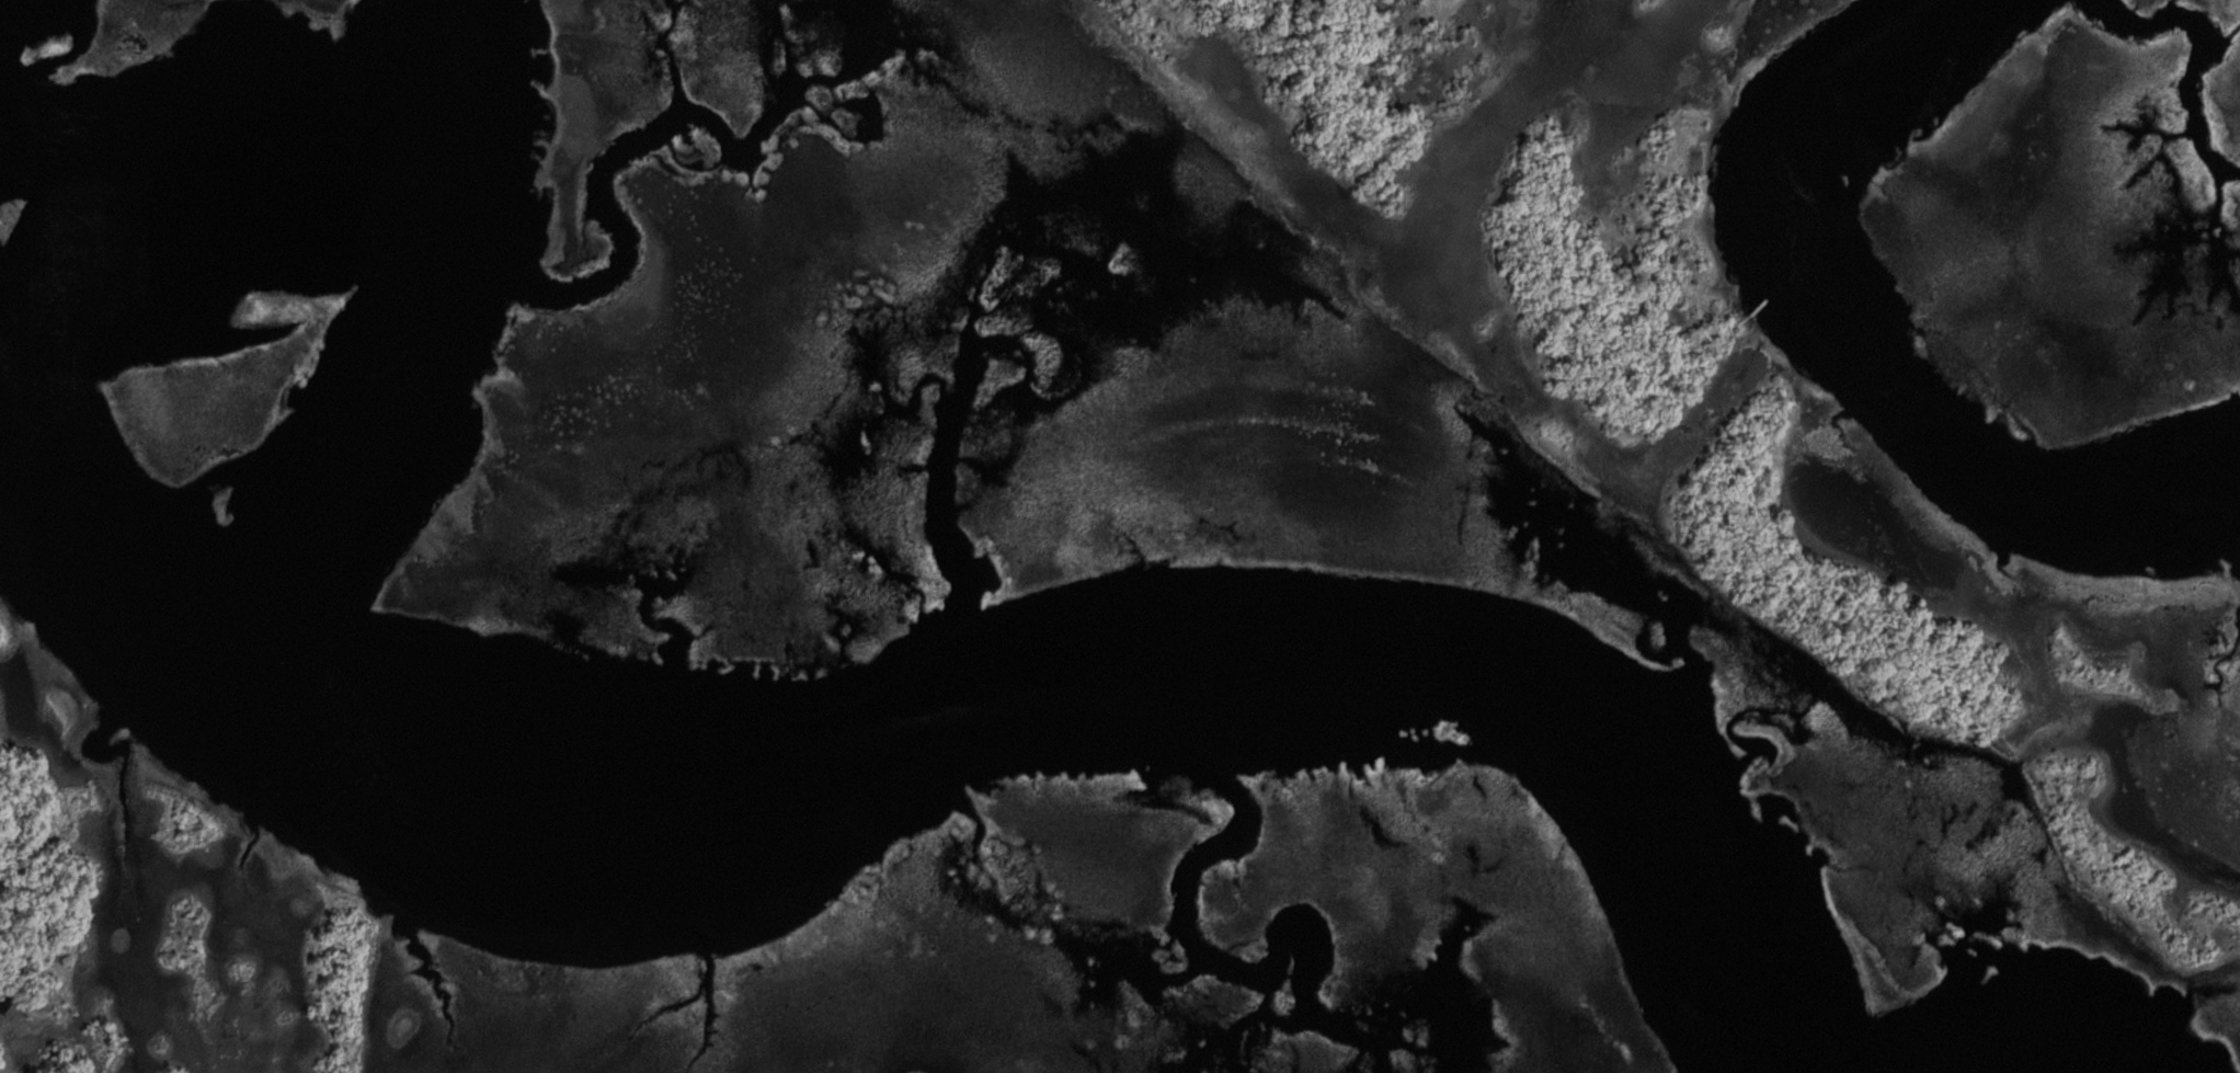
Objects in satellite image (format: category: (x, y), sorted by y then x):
building: (1662, 378)

